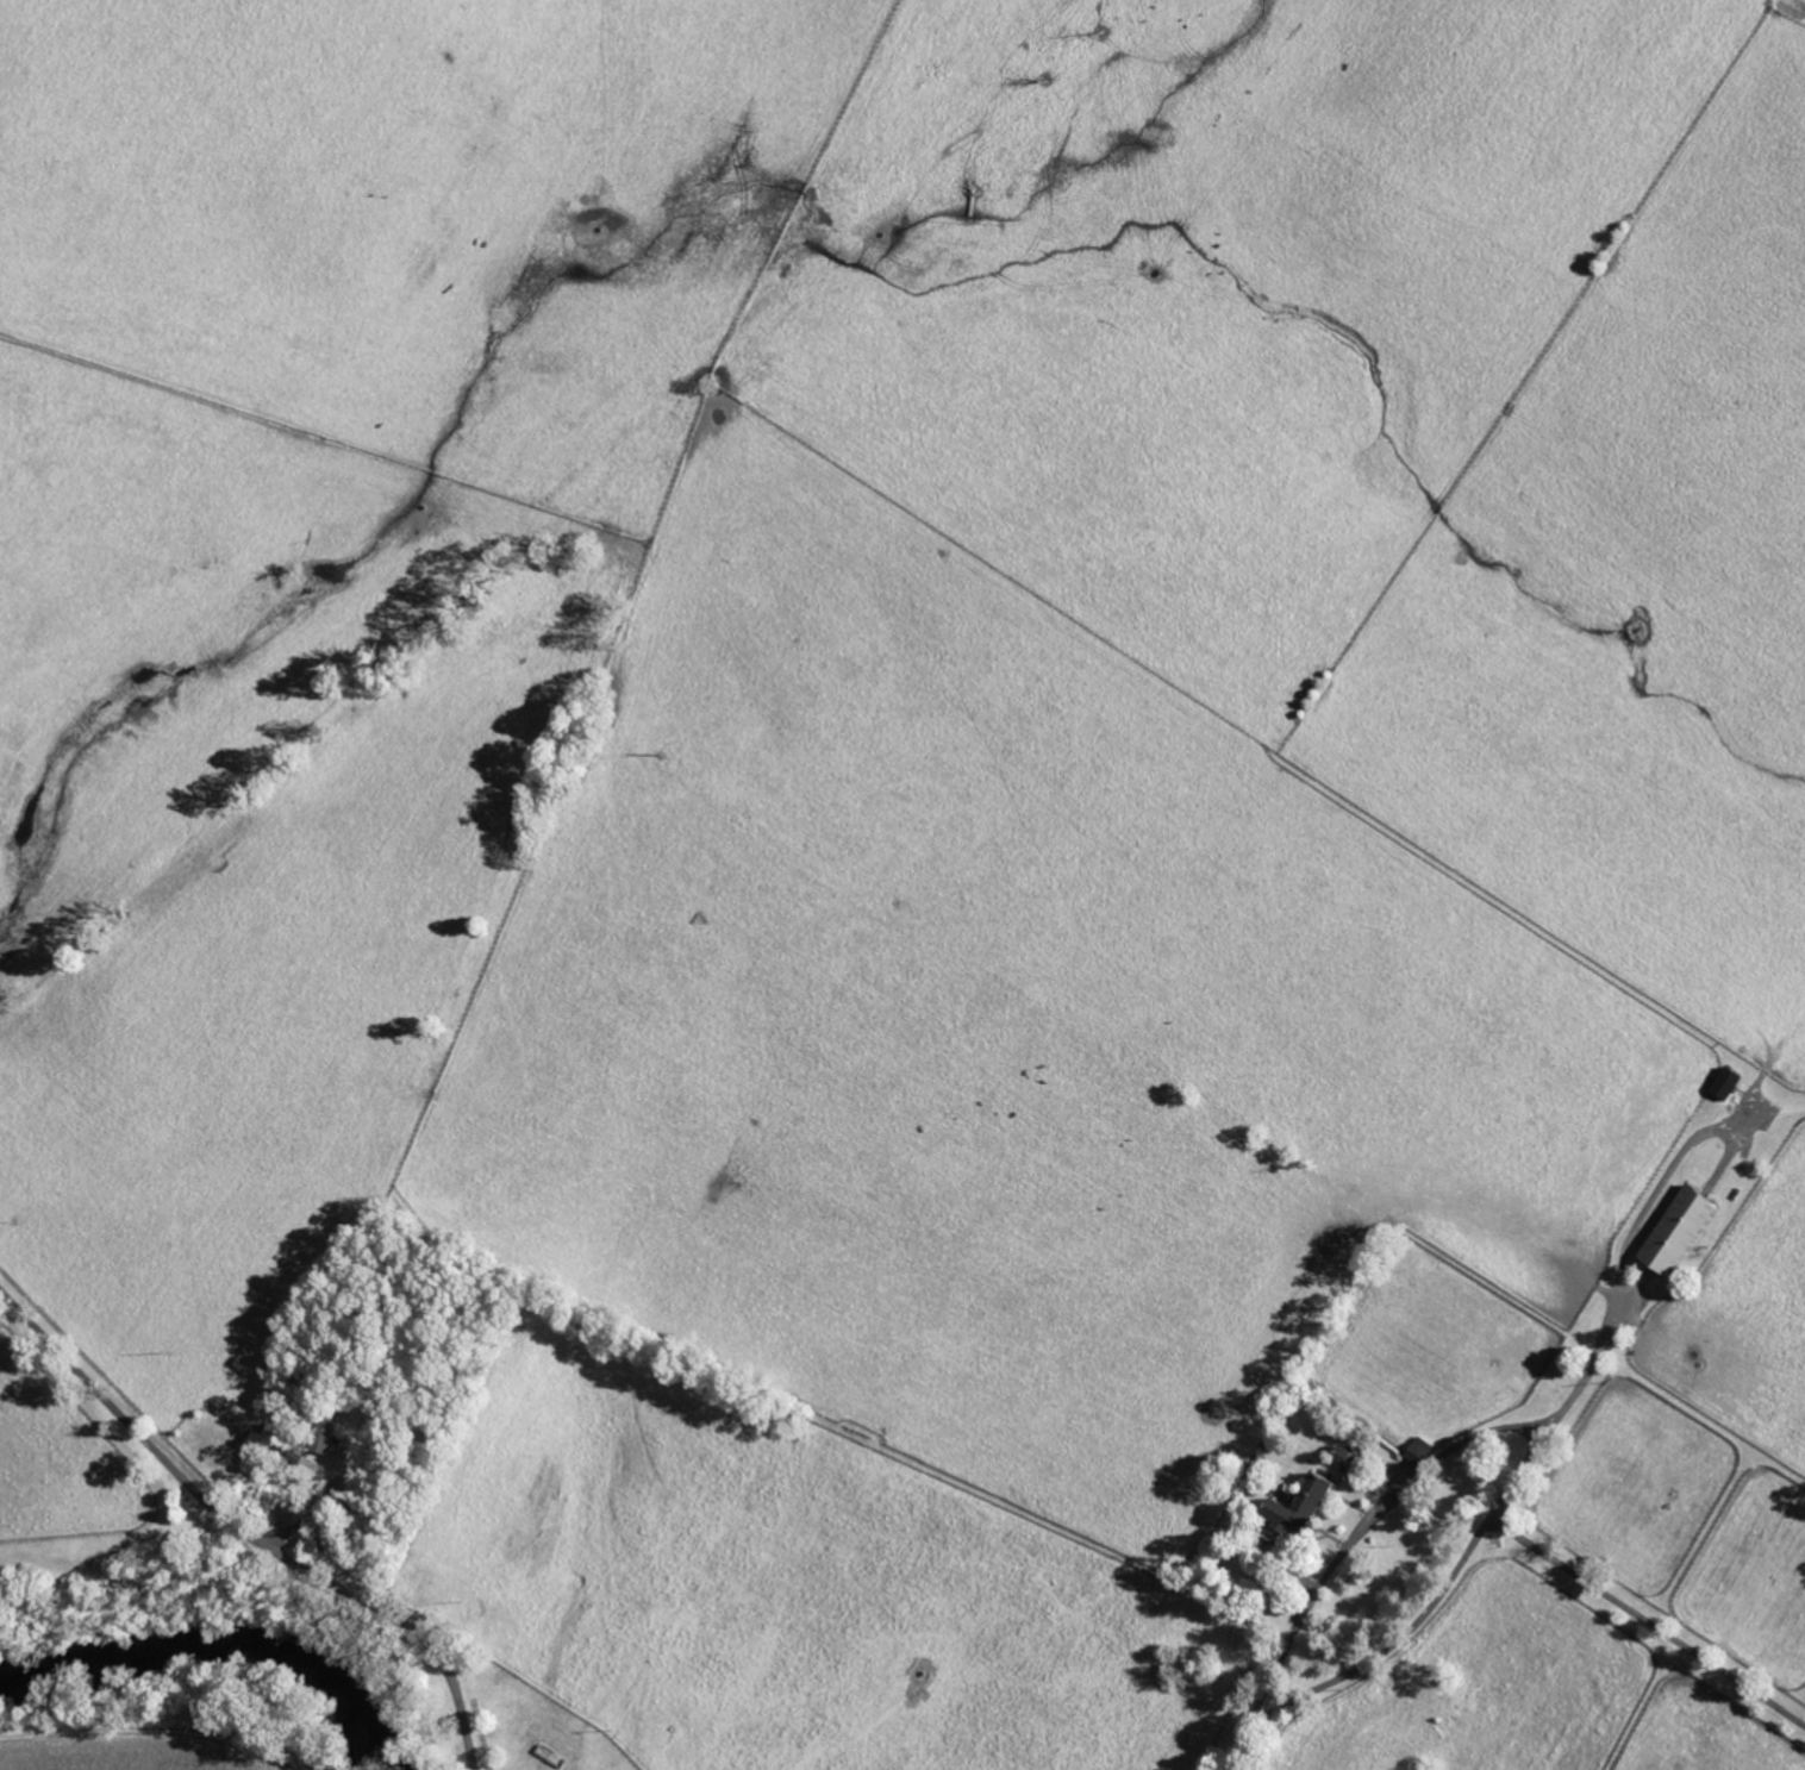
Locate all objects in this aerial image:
building: (1724, 1082)
road: (1656, 1190)
building: (1675, 1230)
building: (318, 1432)
building: (1294, 1507)
road: (1364, 1524)
road: (248, 1533)
road: (1541, 1550)
road: (1372, 1659)
river: (235, 1664)

